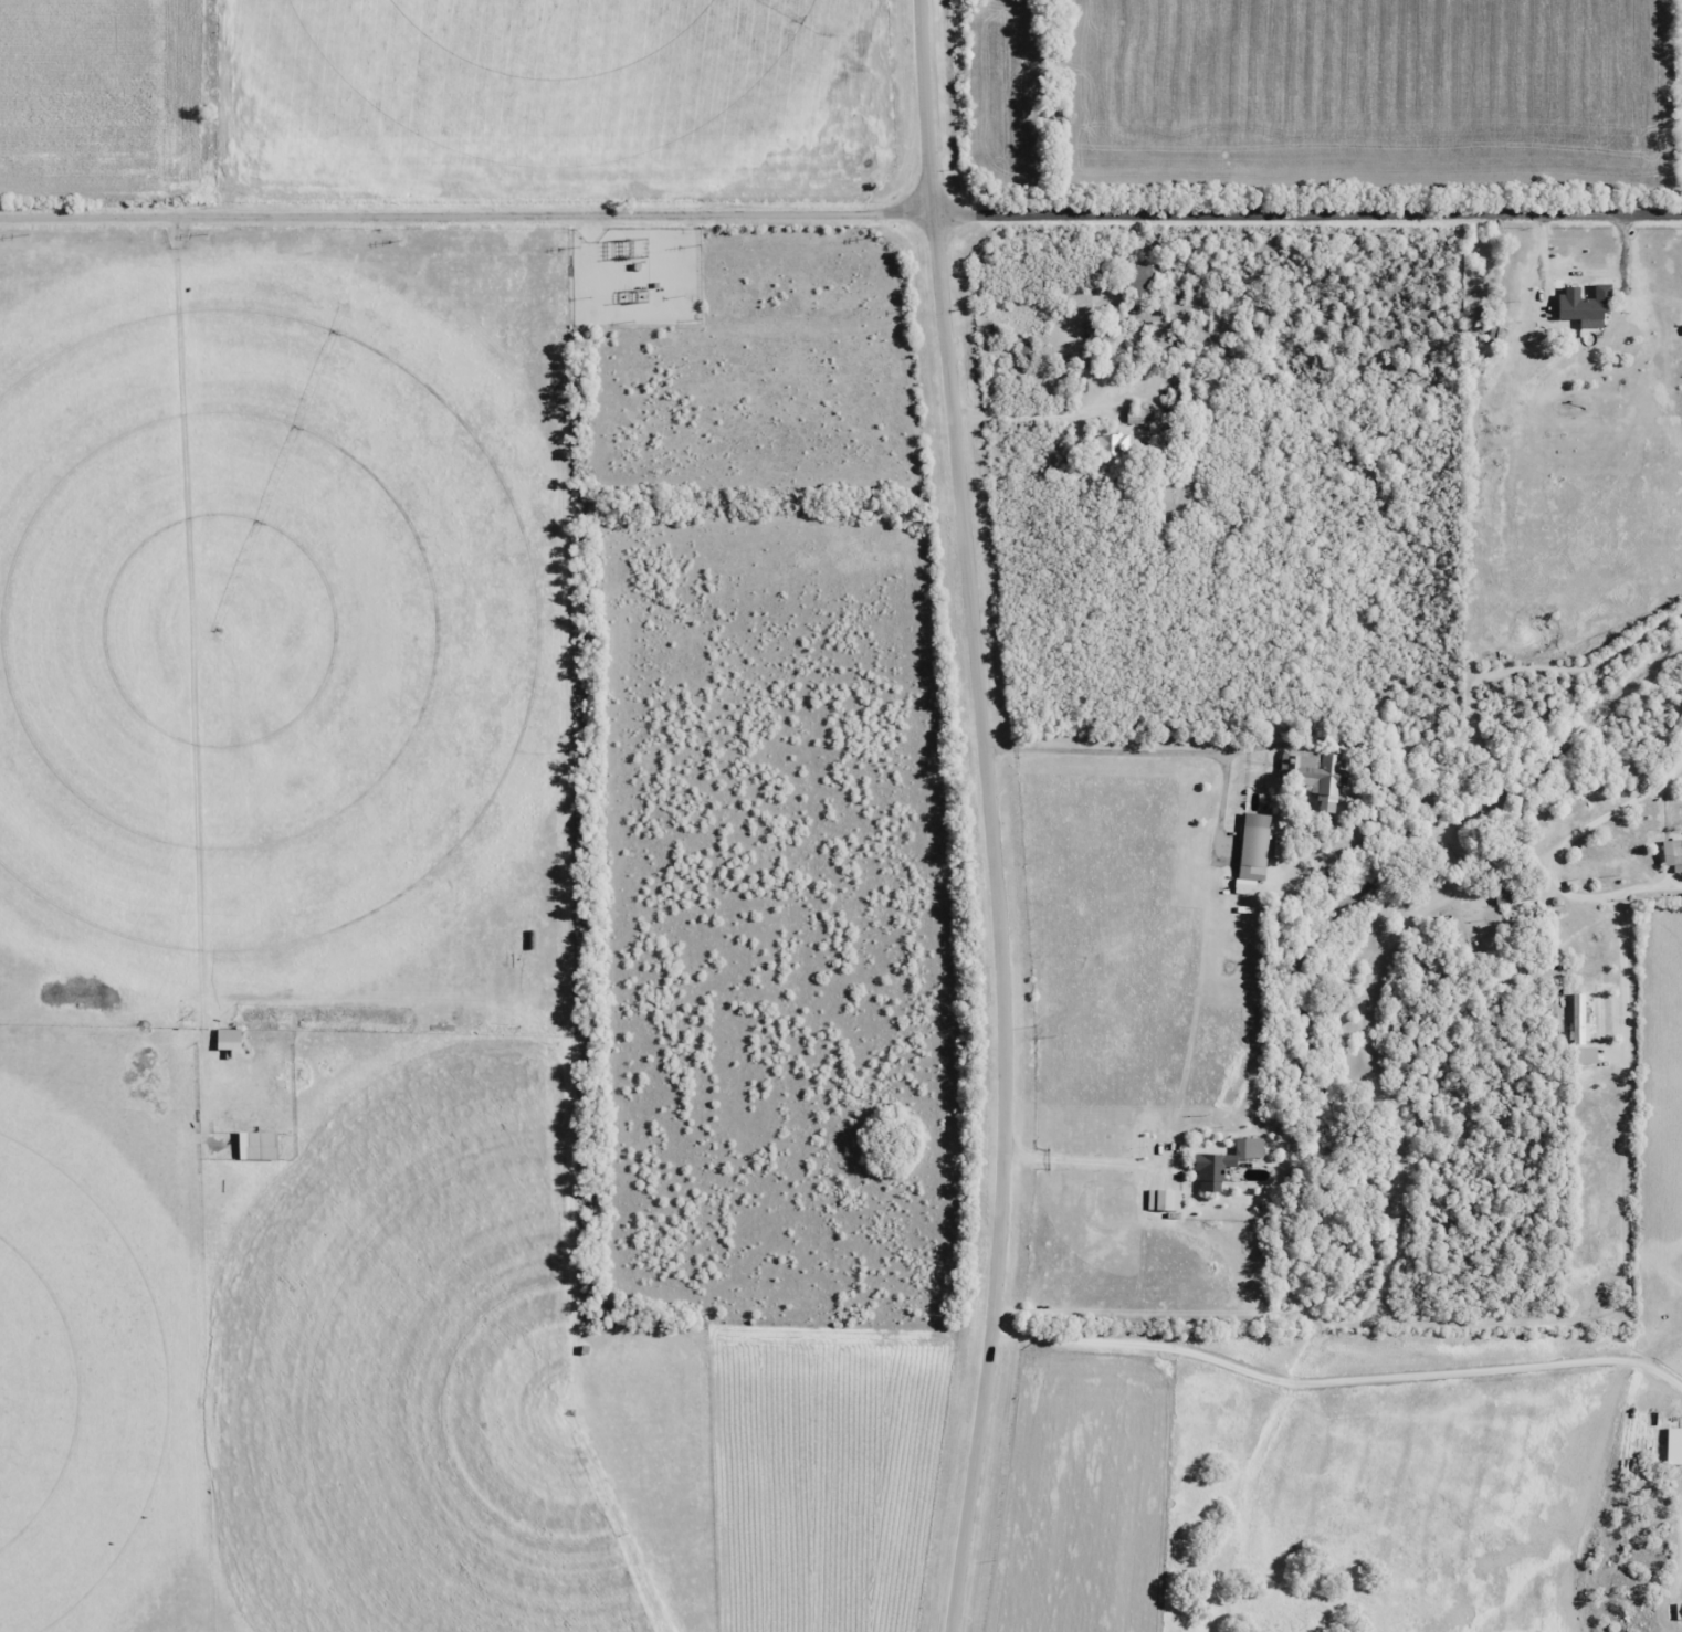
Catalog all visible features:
road: (841, 211)
power tower: (1050, 227)
road: (592, 228)
power tower: (1205, 229)
power tower: (24, 232)
power tower: (1475, 232)
power tower: (208, 233)
power tower: (884, 234)
power tower: (399, 238)
power tower: (702, 244)
power tower: (579, 245)
power tower: (630, 250)
power tower: (648, 250)
power substation: (637, 275)
building: (1136, 277)
building: (1577, 306)
building: (1112, 445)
road: (1153, 749)
building: (1313, 775)
road: (992, 815)
building: (1253, 840)
building: (1671, 851)
building: (1587, 867)
building: (228, 1034)
building: (1248, 1147)
road: (1090, 1162)
building: (1279, 1170)
road: (1649, 1348)
road: (1337, 1381)
building: (1679, 1609)

